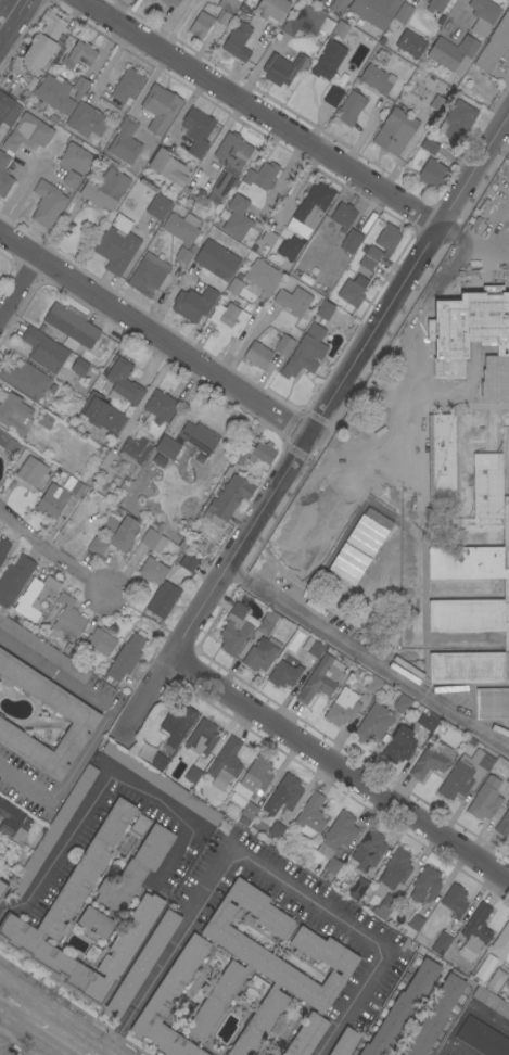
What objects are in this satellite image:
building: (151, 0)
building: (152, 0)
building: (239, 0)
building: (314, 0)
building: (427, 0)
building: (170, 2)
building: (338, 4)
building: (228, 5)
building: (434, 5)
building: (245, 9)
building: (269, 9)
road: (8, 11)
building: (374, 11)
building: (403, 13)
building: (242, 16)
building: (483, 16)
building: (222, 17)
road: (169, 23)
building: (306, 23)
building: (201, 24)
building: (340, 29)
building: (258, 33)
building: (42, 40)
building: (238, 40)
building: (410, 43)
building: (494, 45)
building: (451, 51)
building: (79, 54)
building: (327, 60)
road: (112, 61)
building: (282, 67)
building: (377, 78)
building: (80, 85)
building: (127, 86)
building: (55, 94)
building: (332, 96)
building: (436, 103)
road: (184, 107)
building: (351, 107)
building: (160, 109)
building: (8, 110)
road: (259, 114)
building: (457, 119)
building: (86, 120)
building: (196, 130)
building: (395, 131)
building: (28, 132)
road: (361, 136)
building: (124, 141)
building: (429, 145)
building: (232, 151)
building: (73, 163)
building: (168, 166)
building: (4, 175)
building: (432, 175)
building: (260, 176)
road: (282, 182)
building: (220, 187)
road: (294, 188)
building: (105, 189)
building: (47, 204)
building: (157, 206)
building: (310, 207)
building: (343, 216)
building: (237, 217)
building: (120, 223)
building: (180, 227)
road: (456, 230)
road: (476, 231)
building: (268, 237)
building: (387, 238)
building: (351, 241)
building: (289, 249)
building: (116, 250)
building: (372, 253)
building: (183, 254)
building: (216, 259)
building: (366, 263)
building: (148, 272)
building: (263, 276)
road: (17, 284)
building: (236, 284)
building: (351, 293)
road: (171, 295)
building: (294, 302)
building: (193, 303)
building: (325, 309)
building: (229, 318)
road: (420, 320)
building: (71, 327)
building: (475, 331)
building: (504, 331)
road: (153, 333)
building: (442, 340)
building: (282, 343)
building: (43, 351)
building: (305, 353)
building: (257, 354)
building: (78, 367)
building: (25, 380)
building: (123, 384)
building: (506, 393)
building: (481, 394)
building: (161, 406)
building: (14, 414)
building: (100, 416)
building: (46, 420)
road: (314, 425)
road: (405, 432)
building: (483, 436)
building: (199, 437)
building: (9, 444)
building: (167, 447)
building: (135, 449)
road: (331, 449)
building: (257, 453)
building: (30, 471)
building: (68, 483)
building: (77, 488)
building: (226, 499)
building: (52, 500)
building: (110, 524)
road: (319, 532)
building: (124, 534)
building: (152, 541)
building: (97, 546)
building: (3, 549)
road: (51, 557)
building: (466, 557)
building: (186, 561)
building: (152, 570)
building: (14, 580)
building: (34, 598)
building: (163, 598)
building: (68, 618)
building: (234, 630)
building: (100, 640)
building: (263, 645)
building: (313, 647)
building: (43, 649)
road: (368, 656)
building: (125, 658)
building: (283, 674)
building: (320, 678)
building: (373, 685)
building: (402, 702)
building: (492, 703)
building: (342, 708)
building: (79, 715)
building: (429, 723)
building: (177, 724)
building: (374, 724)
road: (97, 727)
building: (202, 737)
building: (398, 746)
building: (156, 760)
building: (431, 760)
building: (225, 763)
road: (340, 771)
building: (192, 774)
building: (463, 774)
building: (252, 780)
building: (508, 780)
building: (161, 783)
road: (104, 784)
building: (285, 792)
building: (485, 799)
building: (249, 810)
building: (310, 816)
building: (11, 821)
building: (502, 824)
building: (139, 825)
building: (53, 830)
building: (275, 830)
building: (338, 834)
building: (368, 850)
road: (264, 868)
building: (135, 869)
building: (329, 870)
building: (393, 872)
building: (423, 887)
building: (2, 888)
building: (357, 889)
building: (455, 901)
building: (65, 904)
building: (384, 906)
building: (415, 921)
building: (94, 924)
building: (474, 932)
building: (441, 942)
building: (501, 944)
building: (141, 964)
building: (484, 967)
building: (264, 968)
building: (495, 980)
building: (506, 983)
building: (253, 990)
building: (489, 999)
building: (170, 1001)
building: (402, 1008)
road: (467, 1010)
building: (435, 1015)
road: (56, 1016)
road: (5, 1031)
road: (29, 1034)
building: (306, 1035)
building: (482, 1038)
building: (345, 1042)
road: (458, 1047)
road: (43, 1051)

